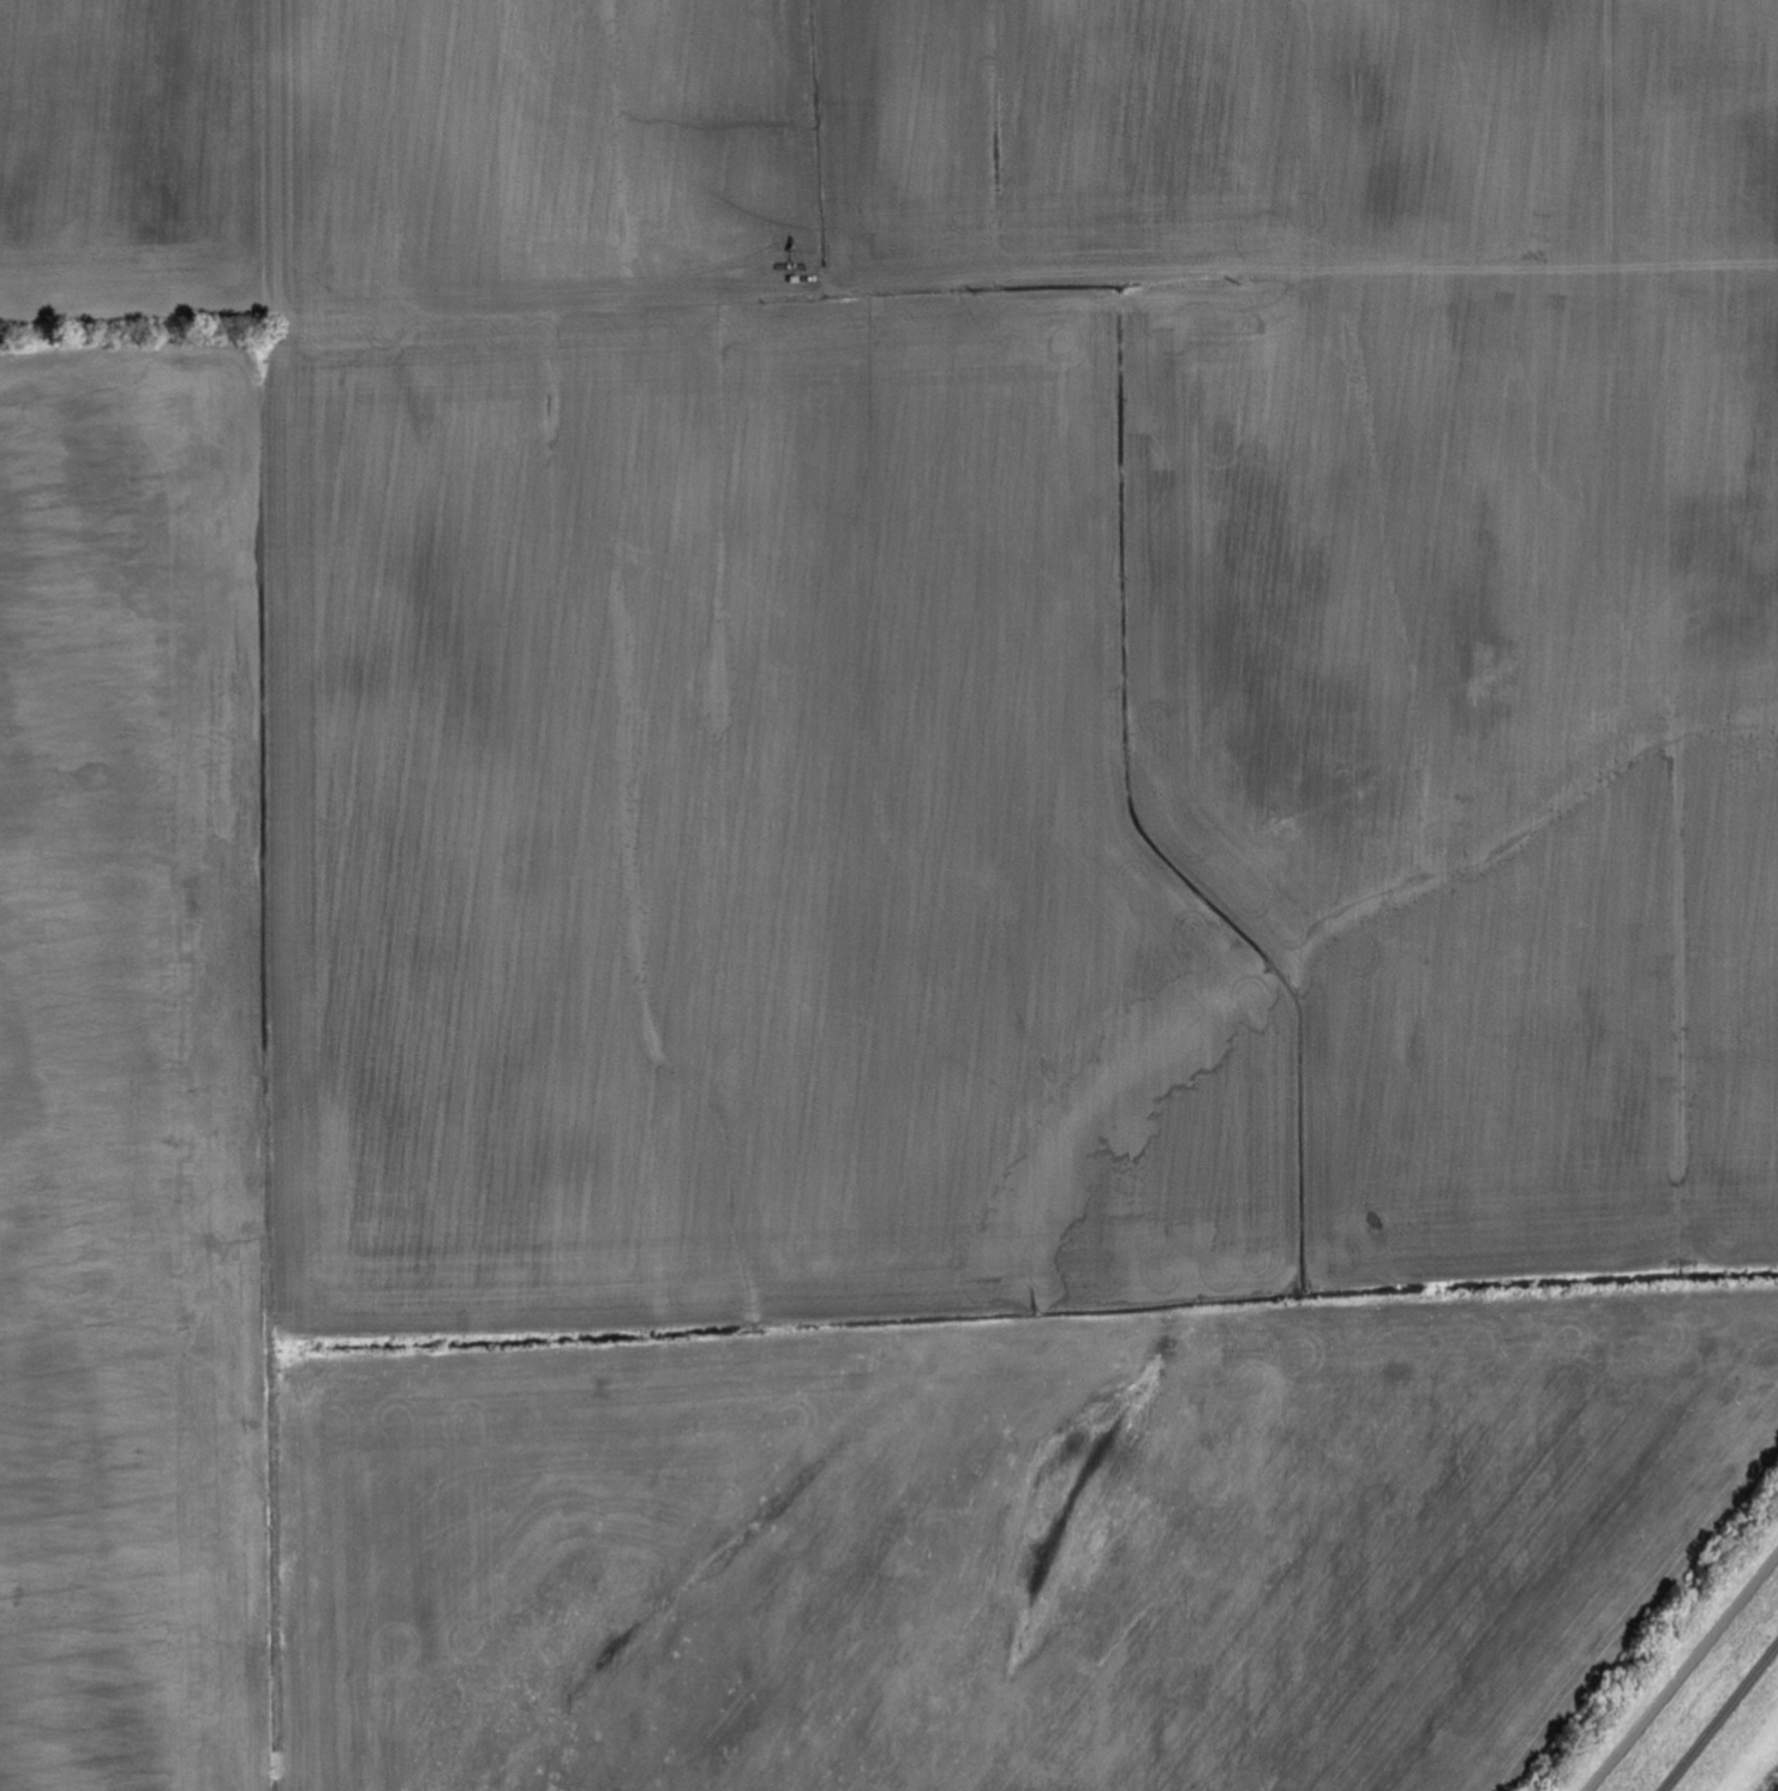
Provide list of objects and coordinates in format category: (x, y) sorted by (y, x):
road: (1683, 1673)
road: (1719, 1717)

